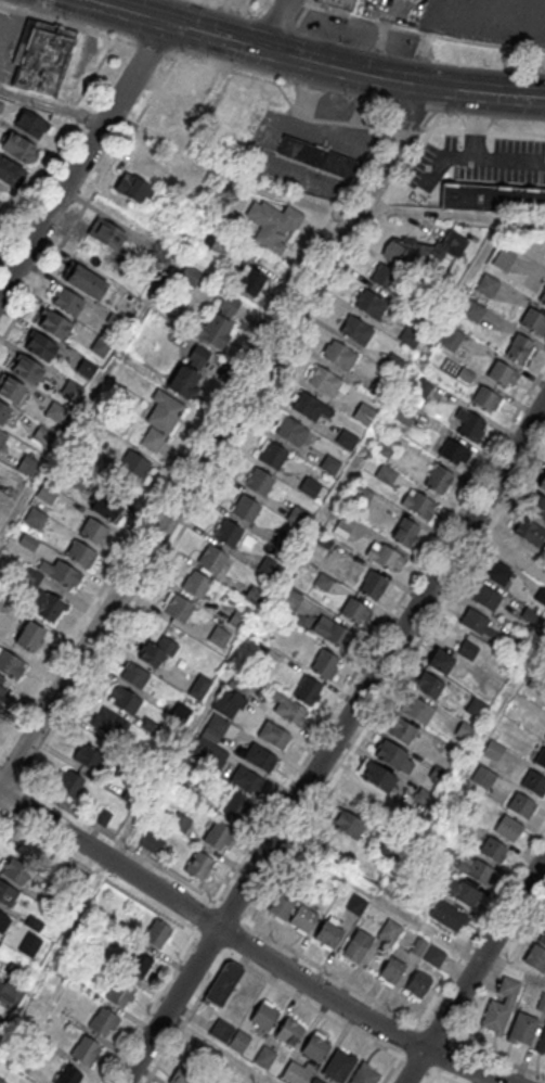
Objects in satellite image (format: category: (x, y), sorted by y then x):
building: (340, 2)
road: (142, 8)
road: (225, 18)
road: (273, 24)
road: (415, 33)
building: (41, 55)
road: (314, 62)
road: (169, 69)
building: (29, 122)
building: (16, 145)
road: (392, 151)
building: (316, 156)
road: (83, 157)
building: (150, 167)
building: (11, 171)
building: (131, 187)
road: (264, 189)
building: (492, 198)
building: (0, 200)
building: (272, 224)
building: (105, 232)
building: (205, 239)
building: (159, 252)
building: (425, 253)
building: (504, 259)
building: (190, 276)
building: (387, 278)
building: (248, 280)
building: (85, 281)
building: (489, 284)
building: (542, 296)
building: (68, 301)
building: (372, 304)
building: (472, 310)
building: (533, 320)
building: (115, 321)
building: (53, 323)
building: (355, 329)
building: (213, 331)
building: (410, 337)
building: (451, 339)
building: (40, 346)
building: (100, 346)
building: (519, 347)
building: (339, 354)
building: (198, 356)
road: (113, 358)
building: (394, 364)
building: (27, 369)
building: (87, 369)
building: (503, 373)
building: (183, 380)
building: (324, 381)
building: (421, 386)
building: (10, 387)
building: (379, 390)
building: (72, 391)
building: (486, 398)
building: (309, 406)
road: (257, 407)
building: (3, 411)
building: (56, 412)
building: (363, 415)
building: (403, 415)
building: (160, 420)
road: (205, 422)
building: (470, 426)
building: (293, 431)
building: (2, 435)
building: (42, 435)
building: (347, 441)
building: (380, 450)
building: (453, 451)
building: (273, 455)
building: (27, 464)
building: (134, 464)
building: (329, 464)
building: (386, 474)
building: (438, 479)
building: (259, 481)
building: (542, 483)
building: (309, 486)
building: (46, 494)
building: (362, 495)
road: (176, 501)
building: (418, 502)
building: (105, 505)
building: (245, 507)
building: (536, 507)
building: (297, 515)
building: (35, 518)
building: (345, 524)
building: (94, 531)
building: (527, 531)
building: (228, 532)
building: (405, 532)
building: (283, 541)
building: (81, 553)
building: (384, 555)
building: (211, 558)
building: (268, 566)
building: (62, 572)
building: (497, 573)
building: (322, 583)
building: (373, 584)
building: (196, 585)
building: (254, 596)
building: (484, 596)
building: (291, 599)
building: (49, 607)
building: (177, 609)
building: (354, 611)
building: (237, 621)
building: (478, 623)
building: (333, 633)
building: (29, 636)
building: (218, 637)
building: (468, 649)
building: (156, 651)
building: (439, 661)
building: (325, 663)
building: (11, 664)
building: (133, 676)
building: (1, 678)
building: (428, 685)
building: (198, 687)
building: (308, 690)
building: (1, 692)
building: (125, 700)
building: (228, 702)
building: (477, 706)
building: (416, 709)
building: (181, 711)
building: (289, 711)
building: (108, 724)
building: (400, 730)
building: (273, 736)
building: (544, 737)
road: (333, 740)
building: (492, 749)
building: (393, 755)
building: (88, 756)
building: (259, 759)
building: (541, 759)
building: (185, 769)
building: (376, 775)
building: (482, 776)
building: (246, 780)
building: (69, 782)
building: (534, 783)
building: (360, 795)
road: (12, 803)
building: (235, 804)
building: (521, 806)
building: (348, 824)
building: (507, 829)
building: (216, 834)
building: (151, 841)
building: (27, 848)
building: (494, 850)
building: (198, 864)
building: (14, 869)
building: (477, 871)
road: (96, 874)
building: (460, 890)
building: (7, 893)
building: (284, 903)
building: (355, 904)
building: (447, 915)
building: (303, 918)
building: (3, 921)
road: (482, 922)
building: (390, 931)
building: (156, 932)
building: (328, 934)
road: (278, 941)
road: (248, 945)
building: (356, 946)
building: (537, 953)
building: (433, 955)
building: (138, 964)
building: (391, 970)
road: (475, 970)
building: (417, 982)
building: (224, 983)
building: (119, 992)
building: (4, 994)
road: (295, 996)
building: (501, 1007)
road: (147, 1008)
building: (264, 1017)
building: (102, 1020)
building: (522, 1029)
building: (221, 1031)
building: (289, 1033)
building: (239, 1042)
building: (541, 1044)
building: (85, 1048)
road: (222, 1048)
building: (315, 1048)
building: (264, 1057)
building: (339, 1067)
road: (392, 1070)
building: (296, 1072)
building: (67, 1074)
building: (364, 1074)
building: (185, 1078)
road: (431, 1078)
road: (445, 1078)
building: (1, 1080)
building: (316, 1081)

